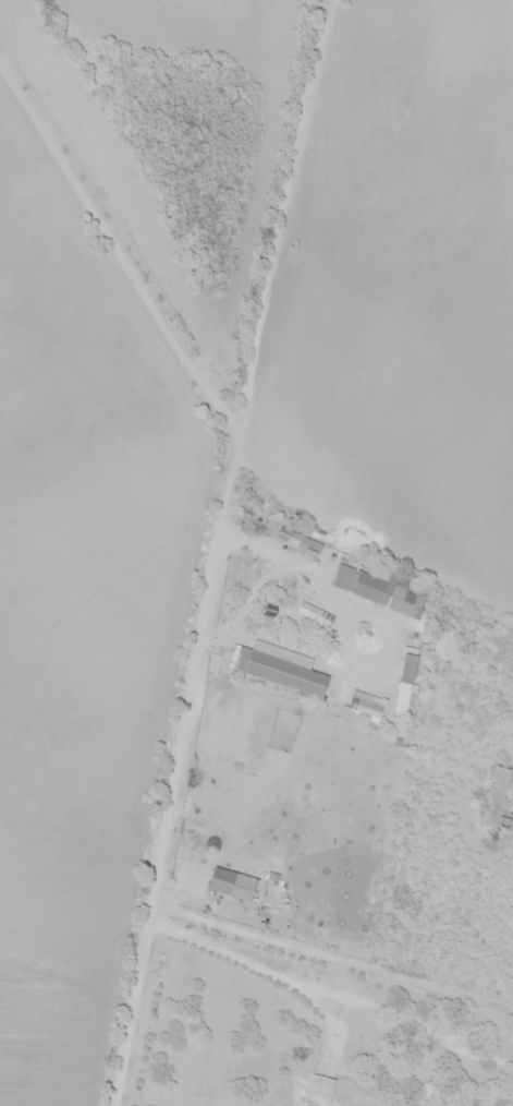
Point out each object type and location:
road: (120, 249)
road: (219, 551)
road: (333, 954)

